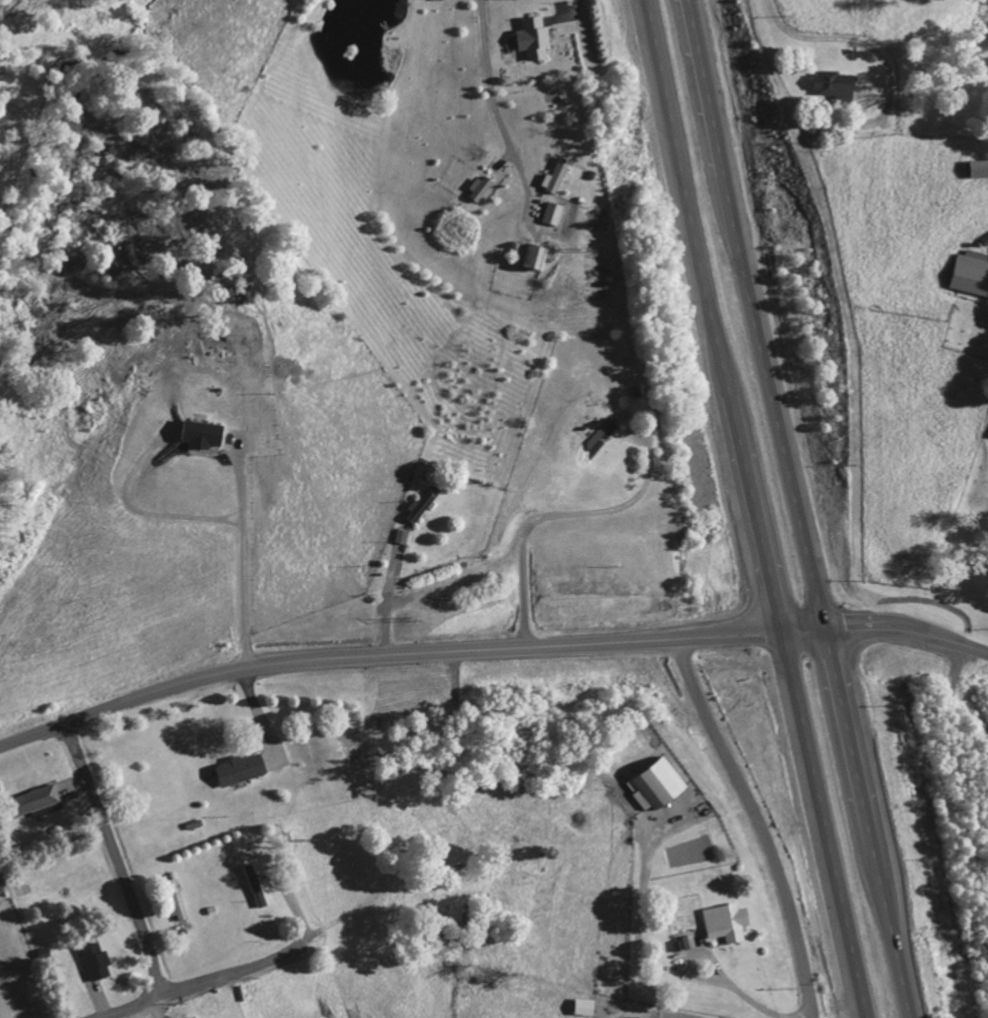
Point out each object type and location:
building: (534, 39)
building: (838, 86)
building: (981, 169)
building: (558, 176)
building: (482, 189)
building: (556, 213)
building: (533, 255)
building: (972, 273)
building: (206, 436)
building: (425, 505)
road: (755, 509)
road: (797, 509)
road: (488, 646)
building: (244, 769)
building: (659, 785)
building: (42, 800)
road: (118, 856)
building: (255, 885)
building: (728, 921)
building: (97, 961)
road: (234, 971)
road: (138, 1006)
building: (587, 1006)
building: (199, 1017)
building: (644, 1017)

